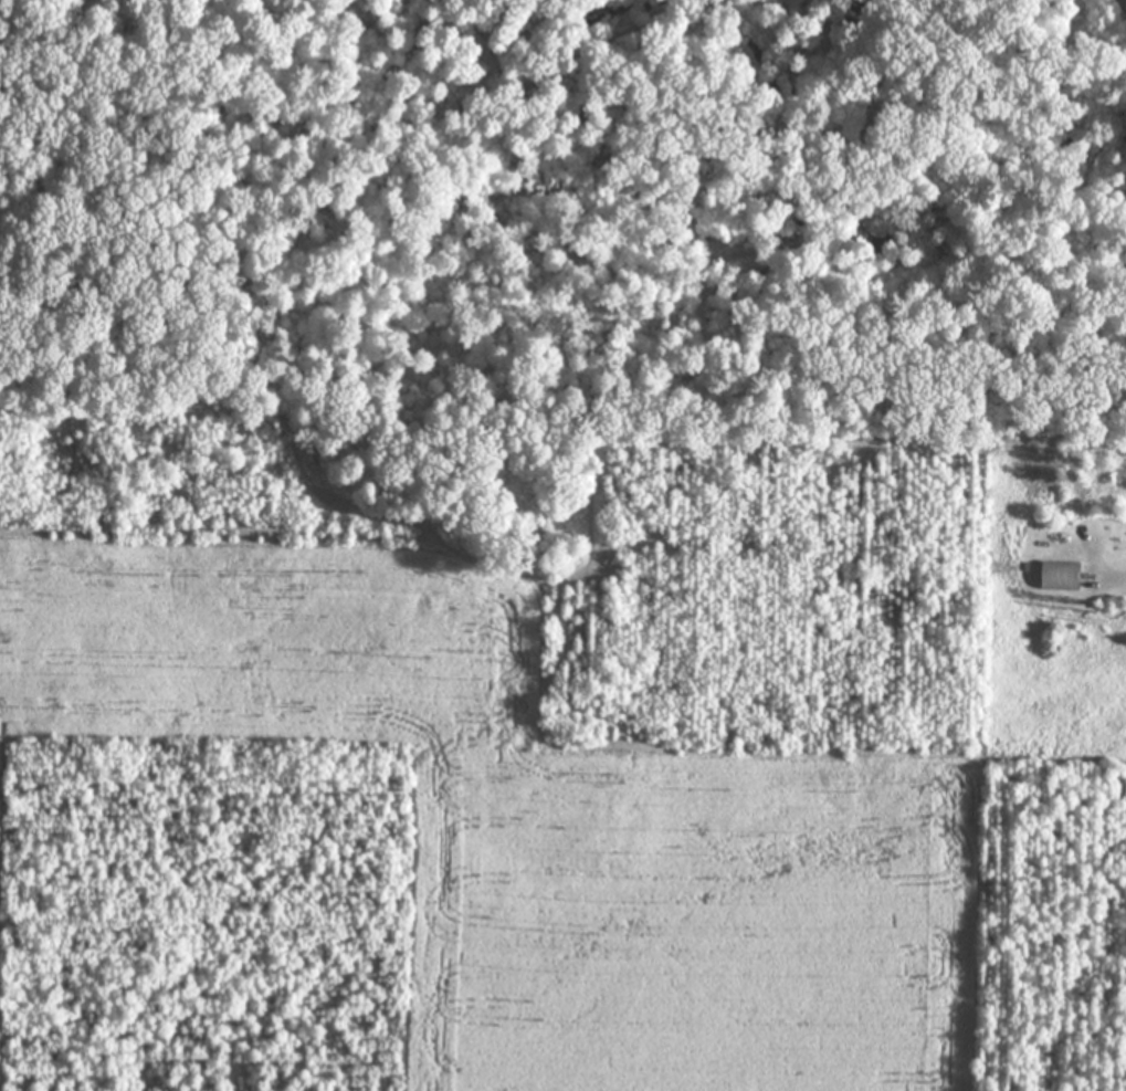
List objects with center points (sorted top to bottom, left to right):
building: (1063, 575)
road: (1120, 576)

